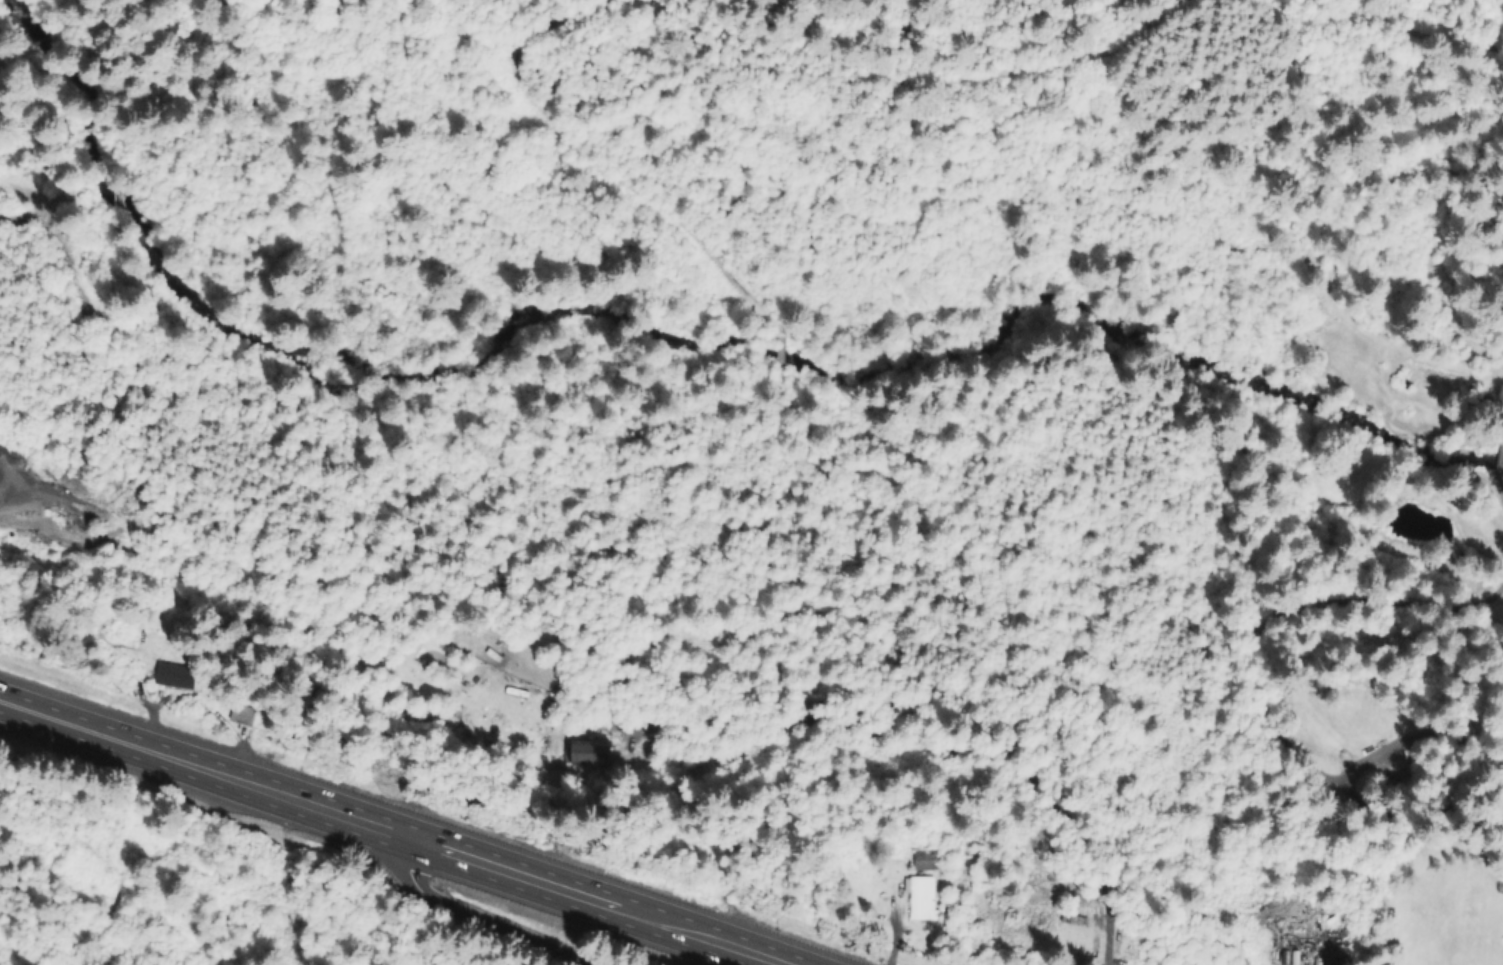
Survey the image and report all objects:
building: (776, 352)
building: (146, 619)
building: (171, 678)
building: (238, 717)
building: (586, 755)
road: (391, 830)
building: (924, 861)
building: (920, 900)
road: (465, 918)

